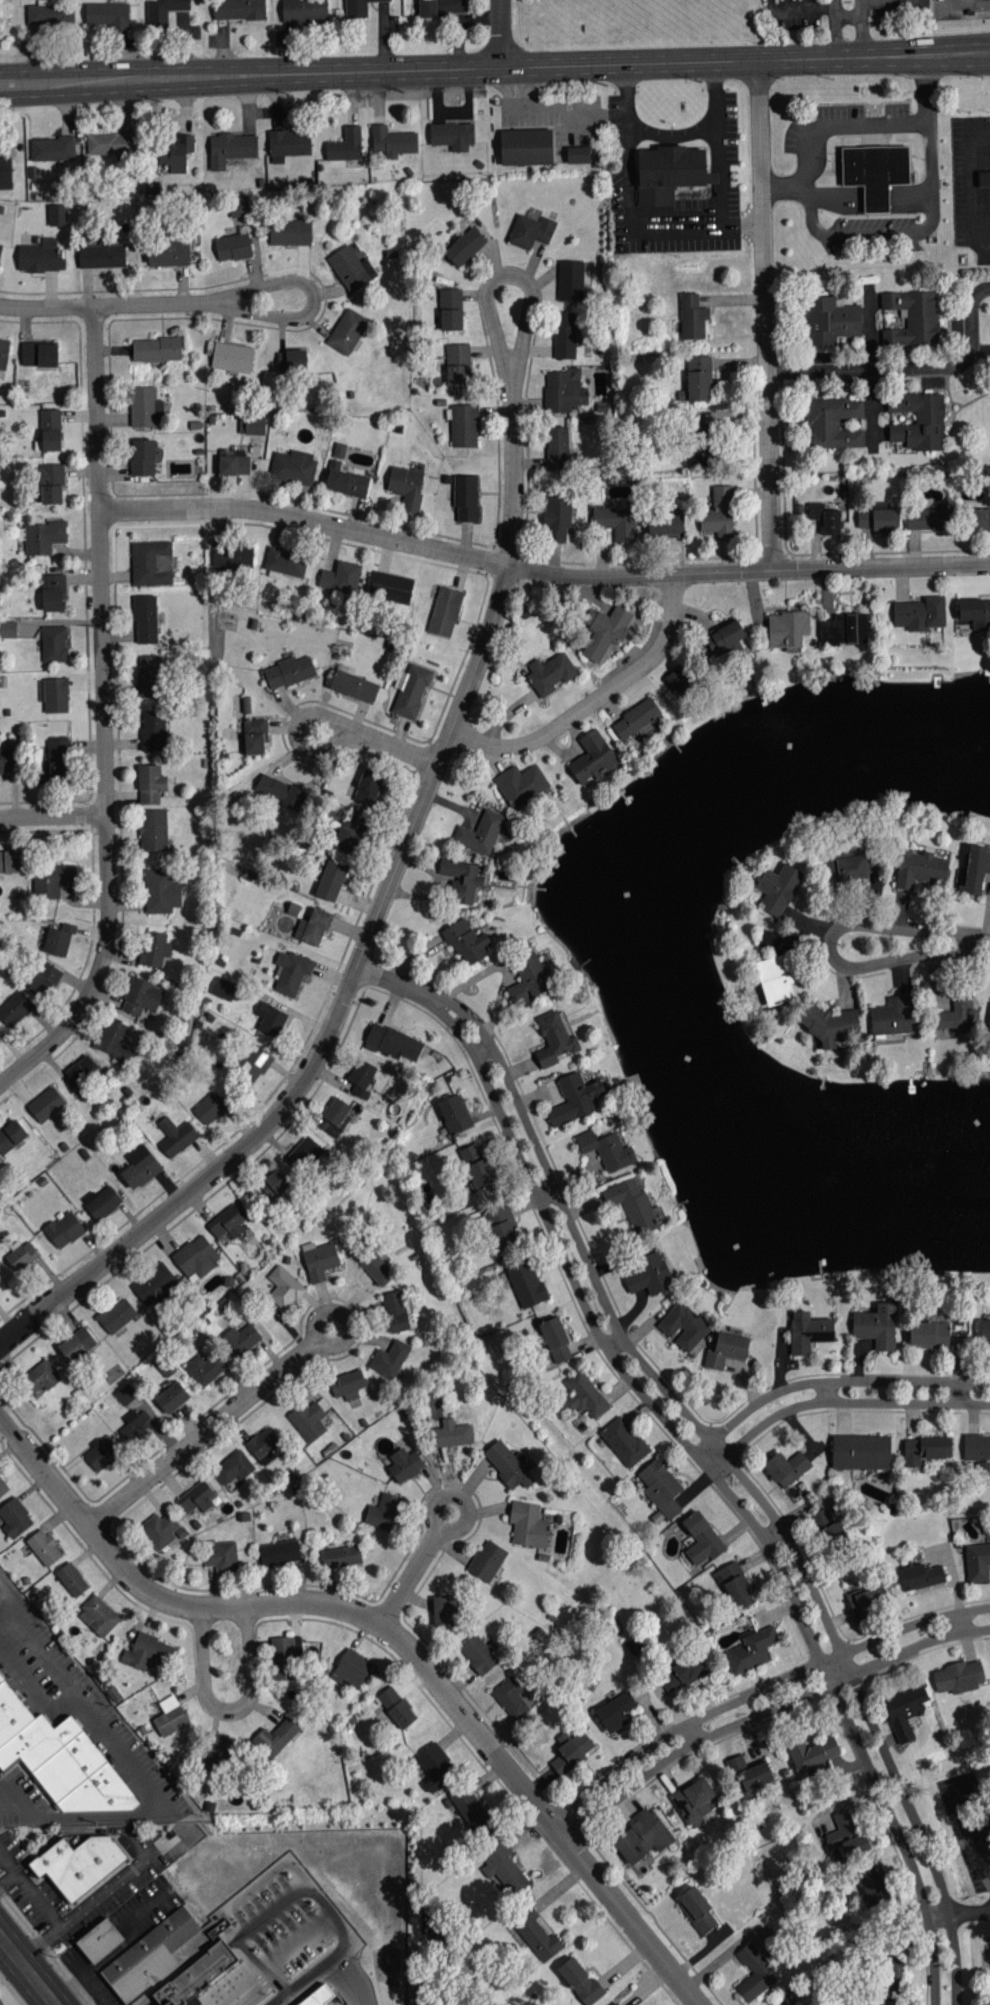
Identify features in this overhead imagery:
building: (358, 8)
building: (442, 8)
road: (805, 8)
parking lot: (960, 8)
building: (239, 10)
building: (304, 10)
building: (163, 11)
building: (49, 14)
building: (106, 15)
road: (849, 28)
road: (503, 34)
road: (494, 68)
road: (850, 118)
building: (453, 136)
road: (672, 139)
building: (393, 142)
building: (110, 145)
building: (288, 145)
building: (525, 145)
building: (346, 146)
building: (52, 149)
building: (230, 149)
building: (578, 153)
building: (177, 154)
building: (874, 170)
building: (670, 171)
building: (5, 173)
building: (985, 177)
road: (978, 184)
road: (723, 194)
building: (238, 207)
building: (57, 216)
building: (531, 230)
building: (290, 233)
building: (0, 246)
building: (465, 247)
building: (233, 248)
building: (168, 254)
building: (101, 256)
building: (40, 257)
building: (351, 269)
building: (571, 281)
road: (314, 300)
road: (112, 307)
building: (450, 310)
road: (766, 316)
building: (692, 318)
building: (912, 319)
building: (831, 322)
building: (347, 332)
building: (565, 336)
building: (156, 350)
building: (4, 354)
building: (39, 355)
building: (232, 358)
road: (518, 358)
building: (291, 361)
building: (457, 365)
road: (909, 370)
building: (697, 381)
building: (565, 391)
building: (145, 408)
building: (919, 422)
building: (834, 424)
building: (252, 426)
building: (464, 427)
building: (49, 431)
building: (558, 450)
building: (339, 451)
building: (702, 456)
building: (142, 458)
building: (233, 464)
building: (294, 467)
building: (347, 484)
building: (51, 485)
building: (406, 487)
building: (466, 499)
building: (719, 514)
building: (826, 517)
road: (305, 520)
building: (557, 520)
building: (928, 520)
building: (978, 520)
building: (879, 522)
building: (617, 523)
building: (665, 526)
building: (43, 537)
building: (233, 562)
building: (152, 564)
building: (284, 565)
road: (748, 572)
building: (341, 578)
building: (392, 588)
building: (52, 594)
building: (445, 612)
building: (976, 613)
building: (920, 614)
building: (145, 620)
building: (7, 630)
building: (788, 630)
building: (845, 630)
building: (605, 634)
building: (725, 644)
building: (54, 645)
building: (288, 673)
building: (550, 674)
building: (149, 677)
building: (680, 683)
building: (354, 688)
building: (412, 692)
building: (55, 696)
road: (595, 701)
road: (104, 717)
road: (331, 719)
building: (637, 720)
building: (153, 732)
building: (254, 738)
building: (8, 760)
building: (593, 760)
building: (55, 763)
building: (150, 784)
building: (520, 786)
building: (368, 788)
building: (280, 791)
road: (53, 817)
building: (154, 830)
building: (481, 832)
building: (349, 834)
building: (851, 853)
building: (10, 861)
building: (852, 868)
building: (920, 868)
building: (977, 868)
building: (462, 879)
building: (52, 880)
building: (331, 880)
building: (778, 888)
building: (161, 891)
building: (313, 927)
building: (58, 938)
building: (467, 942)
road: (970, 946)
road: (831, 947)
building: (155, 949)
building: (291, 972)
building: (528, 978)
building: (775, 979)
building: (43, 980)
road: (394, 984)
building: (224, 989)
building: (141, 996)
building: (15, 1009)
road: (338, 1013)
building: (894, 1016)
building: (956, 1016)
building: (270, 1019)
building: (832, 1025)
building: (989, 1031)
building: (555, 1039)
building: (114, 1040)
building: (392, 1043)
road: (486, 1051)
building: (256, 1063)
building: (81, 1069)
building: (362, 1078)
building: (575, 1098)
building: (46, 1104)
building: (210, 1108)
building: (454, 1114)
building: (335, 1116)
building: (11, 1136)
building: (175, 1136)
building: (607, 1150)
building: (470, 1153)
building: (304, 1154)
building: (140, 1166)
building: (481, 1174)
building: (273, 1185)
road: (549, 1196)
building: (642, 1198)
building: (101, 1202)
building: (516, 1221)
building: (227, 1222)
building: (64, 1229)
building: (504, 1234)
building: (21, 1255)
building: (196, 1257)
building: (319, 1260)
building: (377, 1268)
building: (650, 1275)
building: (537, 1279)
building: (156, 1284)
building: (284, 1288)
building: (396, 1312)
building: (117, 1317)
building: (684, 1326)
building: (877, 1326)
building: (985, 1328)
building: (809, 1332)
building: (929, 1334)
building: (566, 1335)
building: (240, 1340)
building: (556, 1340)
building: (76, 1345)
road: (616, 1345)
building: (728, 1348)
building: (389, 1360)
building: (205, 1368)
building: (40, 1378)
building: (347, 1385)
building: (594, 1391)
road: (829, 1393)
road: (961, 1394)
building: (126, 1395)
building: (172, 1398)
road: (243, 1398)
building: (309, 1421)
building: (136, 1426)
building: (451, 1434)
building: (634, 1437)
building: (265, 1446)
building: (977, 1447)
building: (926, 1450)
building: (861, 1452)
building: (100, 1455)
road: (706, 1457)
building: (405, 1464)
building: (507, 1466)
building: (233, 1467)
building: (787, 1468)
road: (740, 1475)
building: (672, 1482)
road: (720, 1484)
building: (3, 1487)
building: (661, 1489)
building: (197, 1497)
building: (383, 1512)
building: (15, 1518)
building: (822, 1518)
building: (528, 1525)
building: (163, 1531)
road: (440, 1531)
building: (835, 1533)
road: (775, 1534)
building: (702, 1539)
building: (44, 1548)
building: (279, 1553)
building: (222, 1557)
building: (341, 1557)
building: (488, 1562)
building: (978, 1562)
building: (921, 1577)
building: (72, 1580)
building: (734, 1587)
road: (15, 1599)
building: (867, 1602)
building: (444, 1612)
building: (98, 1616)
road: (964, 1623)
road: (391, 1634)
building: (752, 1650)
building: (147, 1653)
building: (478, 1655)
road: (44, 1657)
building: (285, 1658)
building: (351, 1670)
building: (682, 1672)
building: (959, 1677)
building: (511, 1698)
building: (396, 1707)
road: (87, 1710)
road: (231, 1711)
building: (905, 1711)
building: (616, 1712)
building: (170, 1716)
road: (696, 1733)
building: (276, 1737)
building: (218, 1750)
building: (571, 1750)
building: (812, 1754)
building: (61, 1756)
building: (436, 1764)
building: (749, 1774)
building: (693, 1801)
road: (18, 1802)
building: (469, 1808)
road: (563, 1826)
building: (847, 1835)
road: (975, 1835)
building: (642, 1838)
building: (80, 1863)
building: (505, 1870)
building: (874, 1889)
road: (51, 1910)
building: (697, 1910)
road: (969, 1914)
road: (939, 1916)
building: (100, 1939)
road: (299, 1939)
building: (540, 1941)
building: (152, 1954)
road: (28, 1970)
road: (315, 1972)
building: (755, 1974)
building: (199, 1975)
road: (359, 1975)
building: (580, 1982)
building: (888, 1983)
building: (318, 1995)
building: (613, 2004)

